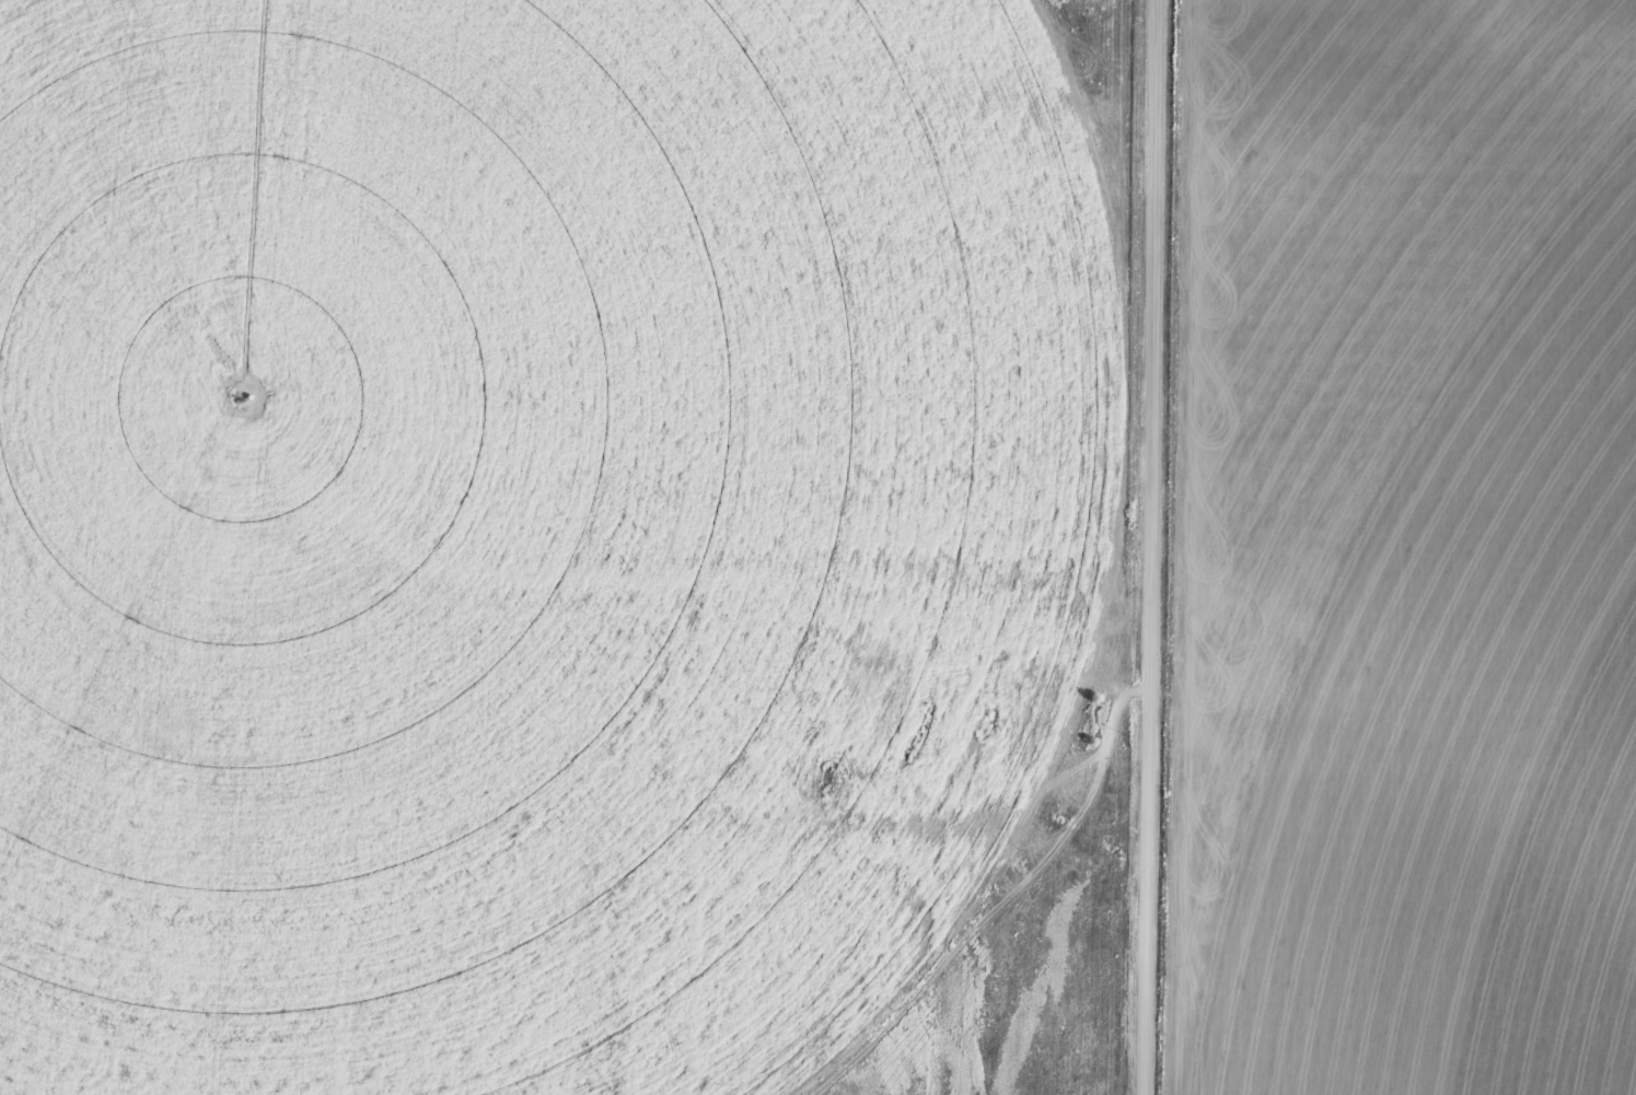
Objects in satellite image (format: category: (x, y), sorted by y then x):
road: (1148, 547)

